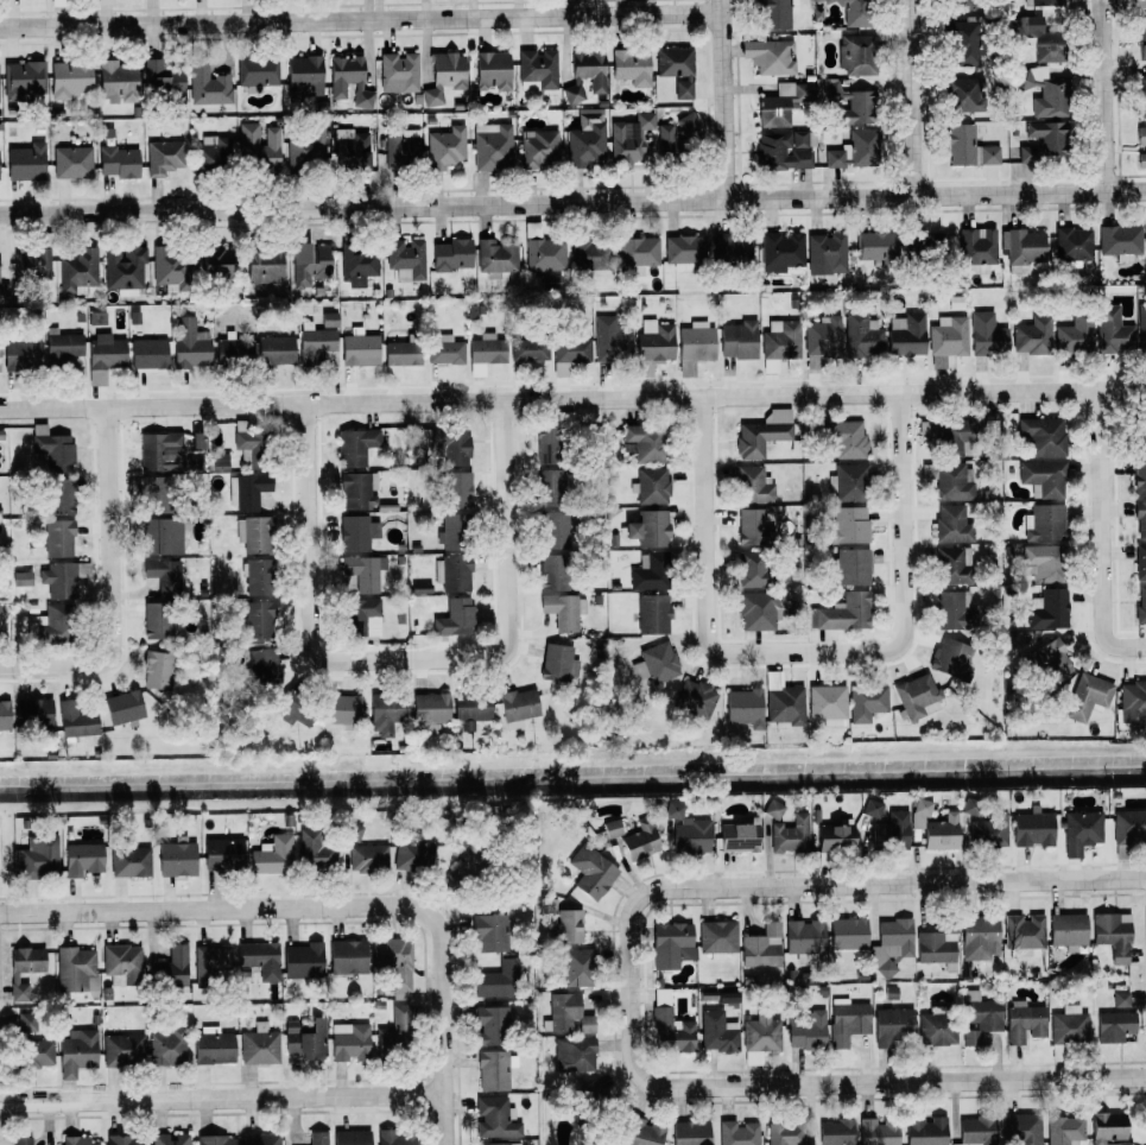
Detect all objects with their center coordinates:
building: (105, 2)
building: (1043, 2)
building: (960, 5)
building: (774, 12)
building: (853, 12)
road: (361, 15)
building: (1020, 25)
building: (1141, 39)
building: (962, 42)
building: (1046, 46)
building: (855, 55)
building: (770, 56)
building: (673, 61)
building: (632, 65)
building: (492, 69)
building: (537, 69)
building: (590, 69)
building: (257, 72)
building: (398, 72)
building: (304, 76)
building: (444, 76)
building: (162, 77)
building: (69, 78)
building: (24, 80)
building: (115, 80)
building: (348, 81)
building: (208, 84)
building: (683, 88)
building: (1045, 91)
building: (960, 93)
building: (572, 94)
building: (1141, 94)
road: (727, 99)
road: (908, 99)
road: (1110, 99)
building: (860, 103)
building: (780, 105)
building: (1047, 135)
building: (675, 137)
building: (629, 139)
building: (587, 141)
building: (258, 146)
building: (399, 146)
building: (492, 146)
building: (1141, 146)
building: (306, 147)
building: (445, 147)
building: (968, 147)
building: (539, 148)
building: (784, 150)
building: (350, 151)
building: (854, 151)
building: (213, 152)
building: (163, 157)
building: (25, 162)
building: (71, 162)
building: (118, 162)
road: (572, 201)
building: (1120, 241)
building: (874, 245)
building: (926, 245)
building: (976, 246)
building: (1072, 246)
building: (1021, 248)
building: (730, 249)
building: (683, 251)
building: (780, 251)
building: (589, 253)
building: (825, 253)
building: (544, 254)
building: (637, 254)
building: (451, 255)
building: (0, 257)
building: (495, 257)
building: (405, 259)
building: (215, 262)
building: (309, 262)
building: (31, 264)
building: (356, 264)
building: (264, 265)
building: (124, 268)
building: (170, 268)
building: (974, 268)
building: (77, 271)
building: (329, 320)
building: (1141, 327)
building: (1113, 330)
building: (906, 334)
building: (1074, 334)
building: (862, 335)
building: (948, 336)
building: (987, 336)
building: (1032, 336)
building: (610, 340)
building: (654, 340)
building: (739, 340)
building: (780, 340)
building: (822, 340)
building: (696, 341)
building: (62, 344)
building: (190, 344)
building: (316, 344)
building: (359, 348)
building: (528, 348)
building: (444, 349)
building: (571, 349)
building: (274, 350)
building: (233, 352)
building: (21, 353)
building: (147, 353)
building: (401, 353)
building: (485, 353)
building: (105, 356)
road: (572, 398)
building: (1142, 434)
building: (1044, 436)
building: (949, 437)
building: (843, 438)
building: (197, 439)
building: (247, 442)
building: (642, 443)
building: (445, 444)
building: (551, 444)
building: (355, 445)
building: (52, 449)
building: (160, 451)
building: (194, 463)
building: (1140, 476)
building: (1043, 477)
building: (949, 481)
building: (848, 482)
building: (651, 486)
building: (753, 486)
building: (550, 487)
building: (355, 489)
building: (456, 489)
building: (247, 491)
building: (157, 494)
building: (57, 495)
building: (1140, 519)
building: (952, 523)
building: (1045, 523)
building: (849, 524)
building: (751, 526)
building: (648, 527)
building: (552, 530)
building: (450, 532)
building: (253, 533)
building: (356, 533)
road: (1102, 533)
building: (162, 536)
building: (58, 538)
building: (1044, 562)
building: (1140, 562)
building: (951, 565)
building: (848, 567)
road: (903, 567)
building: (751, 568)
road: (704, 570)
building: (363, 571)
building: (648, 571)
building: (552, 572)
road: (311, 574)
building: (452, 574)
building: (163, 575)
road: (506, 575)
building: (258, 577)
building: (58, 580)
road: (110, 581)
building: (1141, 605)
building: (950, 609)
building: (1049, 609)
building: (561, 611)
building: (758, 611)
building: (652, 613)
building: (842, 613)
building: (361, 618)
building: (454, 618)
building: (258, 619)
building: (157, 620)
building: (48, 625)
building: (950, 658)
building: (1050, 662)
building: (556, 663)
building: (656, 663)
road: (6, 665)
building: (262, 665)
building: (157, 670)
building: (917, 696)
building: (1087, 696)
building: (695, 698)
building: (1133, 701)
building: (866, 702)
building: (827, 704)
building: (122, 707)
building: (517, 707)
building: (745, 707)
building: (785, 707)
building: (343, 708)
building: (430, 708)
building: (470, 710)
building: (32, 713)
building: (386, 713)
building: (4, 715)
building: (75, 720)
building: (872, 809)
building: (1128, 827)
building: (610, 828)
building: (1032, 829)
building: (1081, 830)
building: (686, 831)
building: (889, 831)
building: (939, 833)
building: (987, 833)
building: (790, 835)
building: (737, 837)
building: (835, 837)
building: (639, 840)
building: (314, 850)
building: (413, 852)
building: (222, 853)
building: (272, 855)
building: (368, 856)
building: (36, 859)
building: (82, 859)
building: (176, 859)
building: (129, 861)
building: (591, 872)
building: (456, 874)
road: (844, 885)
road: (306, 909)
building: (1068, 929)
building: (1024, 931)
building: (488, 932)
building: (848, 934)
building: (1113, 935)
building: (804, 936)
building: (717, 937)
building: (977, 940)
building: (671, 944)
building: (891, 944)
building: (761, 947)
building: (936, 948)
building: (347, 956)
building: (259, 959)
building: (302, 959)
building: (211, 961)
building: (394, 961)
building: (121, 963)
building: (170, 968)
building: (576, 968)
building: (23, 969)
building: (75, 969)
building: (496, 980)
building: (416, 982)
building: (568, 1013)
building: (979, 1017)
building: (847, 1020)
building: (1115, 1020)
building: (26, 1023)
building: (1024, 1023)
building: (488, 1024)
building: (892, 1025)
building: (936, 1026)
building: (1069, 1026)
building: (808, 1030)
building: (670, 1031)
building: (717, 1032)
building: (760, 1037)
building: (305, 1039)
building: (385, 1039)
building: (349, 1040)
building: (213, 1045)
building: (259, 1045)
building: (166, 1046)
building: (122, 1049)
building: (76, 1052)
building: (38, 1054)
building: (574, 1054)
building: (492, 1070)
road: (846, 1081)
road: (223, 1096)
road: (445, 1118)
building: (494, 1119)
building: (1108, 1128)
building: (1021, 1130)
building: (1065, 1130)
building: (925, 1131)
building: (975, 1131)
building: (640, 1132)
building: (836, 1132)
building: (690, 1133)
building: (739, 1133)
building: (785, 1133)
building: (876, 1133)
building: (352, 1137)
building: (395, 1137)
building: (318, 1138)
building: (170, 1139)
building: (260, 1139)
building: (21, 1140)
building: (76, 1140)
building: (125, 1140)
building: (216, 1140)
building: (495, 1144)

